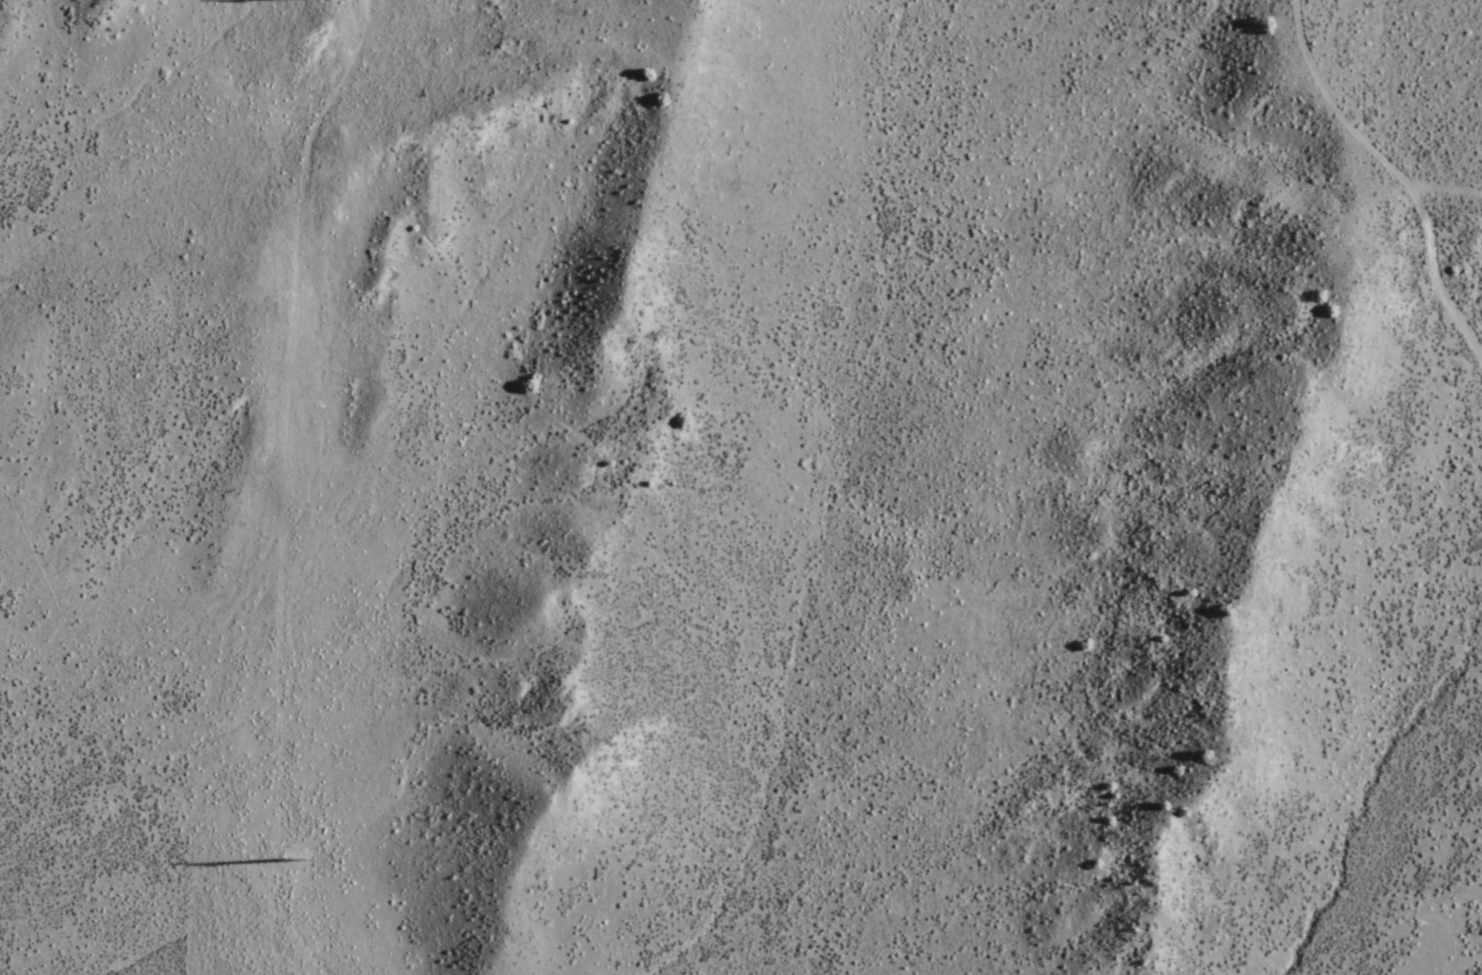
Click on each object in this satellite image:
road: (1398, 173)
road: (285, 481)
power tower: (300, 866)

